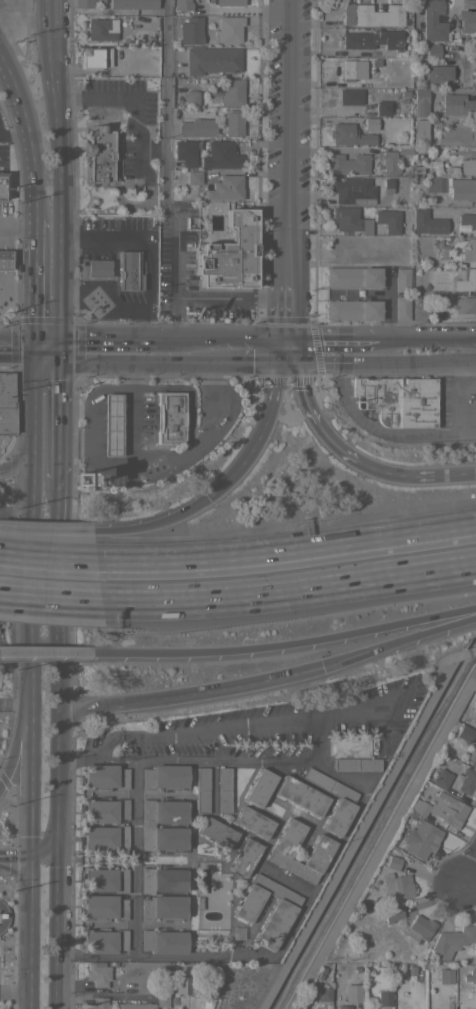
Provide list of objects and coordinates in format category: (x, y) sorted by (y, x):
building: (229, 2)
building: (85, 3)
building: (132, 4)
building: (469, 4)
building: (181, 5)
building: (372, 14)
road: (28, 21)
building: (433, 21)
building: (467, 21)
road: (5, 26)
building: (229, 28)
building: (101, 29)
building: (189, 30)
building: (373, 39)
building: (432, 51)
building: (93, 58)
building: (211, 60)
building: (346, 70)
building: (473, 72)
building: (437, 75)
building: (232, 92)
building: (350, 97)
road: (137, 98)
building: (191, 98)
road: (166, 100)
building: (419, 102)
building: (457, 105)
building: (382, 108)
building: (370, 123)
building: (233, 124)
building: (197, 127)
building: (419, 130)
building: (347, 132)
building: (457, 133)
road: (27, 135)
road: (289, 148)
building: (184, 150)
building: (403, 150)
building: (98, 155)
building: (222, 155)
building: (389, 163)
building: (346, 164)
building: (468, 166)
road: (61, 174)
building: (193, 177)
building: (387, 183)
building: (2, 185)
building: (452, 187)
building: (226, 188)
building: (352, 190)
building: (439, 200)
building: (350, 220)
building: (429, 220)
building: (388, 221)
building: (466, 221)
road: (18, 227)
road: (36, 233)
road: (171, 249)
building: (470, 251)
building: (229, 254)
building: (4, 259)
building: (97, 268)
building: (128, 271)
building: (352, 277)
building: (443, 278)
road: (148, 279)
building: (402, 280)
building: (466, 281)
road: (35, 297)
road: (232, 297)
building: (465, 305)
building: (402, 308)
building: (352, 309)
building: (419, 313)
road: (175, 323)
road: (288, 323)
road: (98, 337)
road: (159, 344)
road: (18, 348)
traffic signals: (36, 349)
road: (47, 349)
traffic signals: (58, 349)
road: (191, 349)
road: (215, 349)
road: (255, 349)
traffic signals: (288, 349)
road: (313, 349)
road: (358, 349)
road: (427, 350)
road: (155, 354)
road: (95, 360)
road: (136, 374)
road: (298, 379)
road: (456, 391)
road: (90, 394)
building: (398, 400)
building: (6, 403)
road: (56, 412)
building: (169, 418)
building: (111, 425)
road: (134, 427)
road: (379, 429)
road: (260, 430)
road: (328, 436)
road: (164, 462)
road: (17, 466)
road: (385, 472)
road: (447, 474)
road: (154, 525)
road: (47, 532)
road: (287, 551)
road: (48, 554)
road: (58, 573)
road: (289, 594)
road: (50, 600)
road: (34, 603)
road: (285, 644)
road: (0, 652)
road: (46, 652)
road: (302, 671)
building: (474, 706)
road: (90, 708)
road: (331, 717)
road: (202, 732)
building: (464, 733)
road: (19, 737)
road: (58, 747)
road: (88, 755)
building: (471, 755)
building: (355, 764)
building: (105, 776)
building: (163, 776)
building: (441, 778)
building: (467, 782)
building: (259, 788)
building: (202, 790)
building: (223, 790)
building: (300, 796)
building: (343, 800)
building: (417, 807)
building: (104, 810)
building: (447, 812)
building: (252, 822)
building: (147, 825)
traffic signals: (58, 826)
building: (217, 833)
building: (105, 837)
building: (420, 839)
road: (337, 843)
road: (51, 847)
building: (319, 850)
road: (132, 857)
building: (243, 857)
road: (16, 858)
traffic signals: (32, 858)
building: (392, 863)
road: (461, 876)
building: (104, 879)
building: (162, 880)
building: (395, 886)
building: (283, 906)
building: (103, 907)
building: (162, 907)
building: (391, 913)
road: (57, 917)
building: (419, 928)
road: (30, 933)
building: (103, 941)
building: (162, 941)
building: (453, 941)
road: (74, 956)
building: (97, 974)
building: (471, 975)
building: (445, 976)
building: (186, 983)
road: (15, 993)
building: (353, 993)
building: (323, 994)
building: (383, 998)
building: (162, 999)
building: (461, 1001)
building: (98, 1003)
building: (206, 1003)
building: (134, 1006)
building: (326, 1006)
building: (342, 1007)

